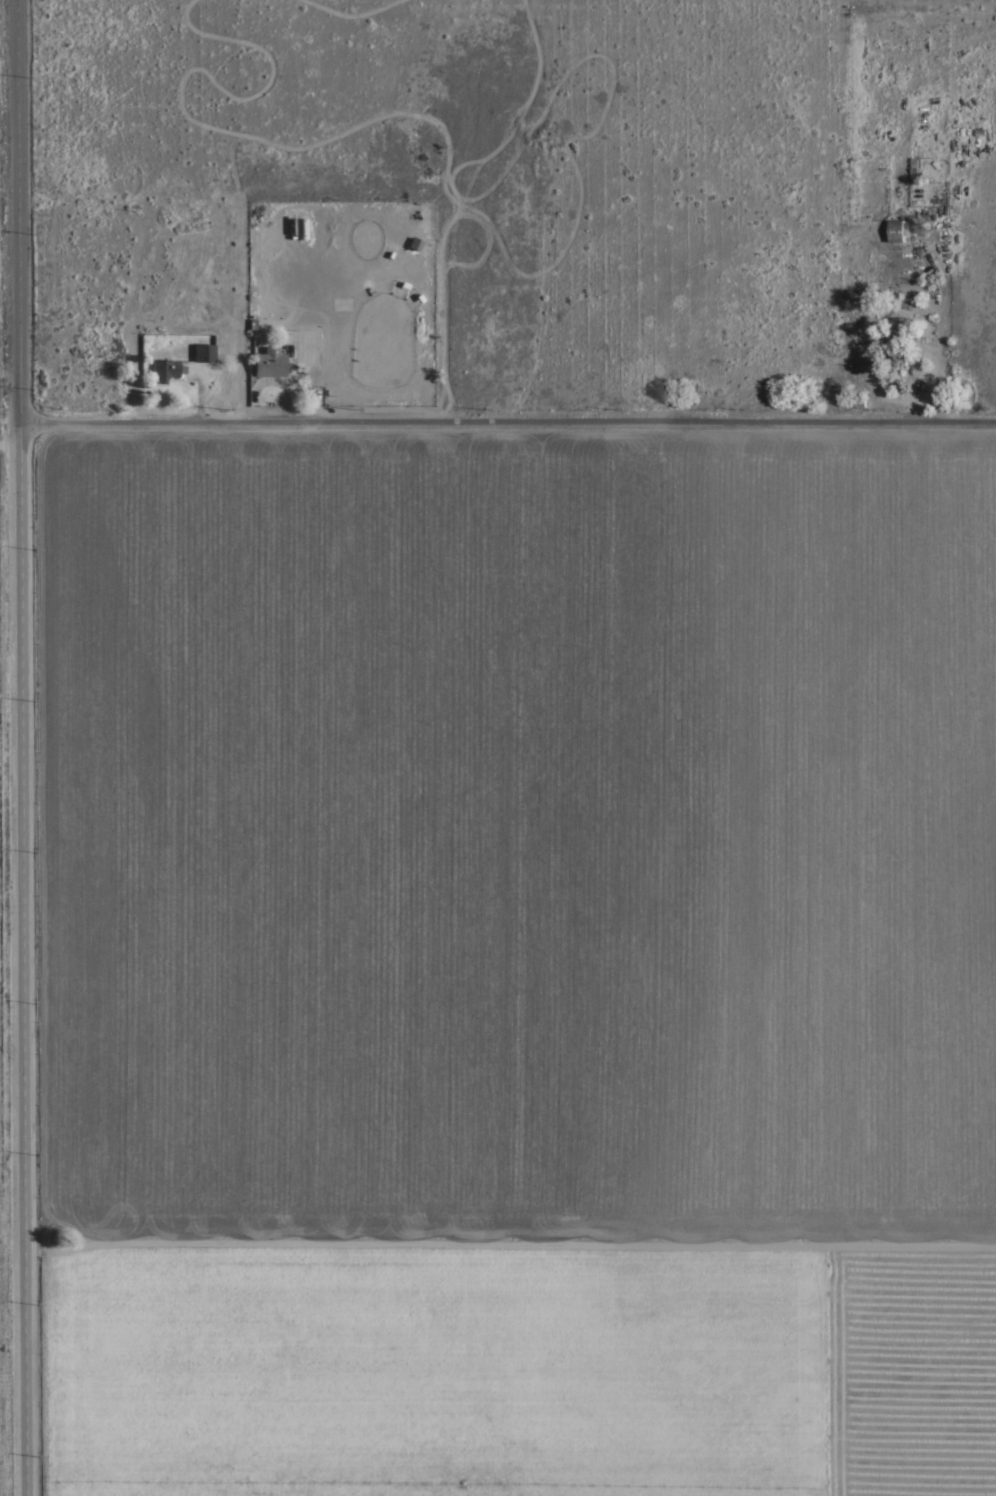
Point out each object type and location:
building: (913, 170)
building: (302, 229)
building: (895, 230)
building: (898, 333)
building: (204, 352)
building: (273, 361)
building: (166, 369)
road: (10, 429)
road: (508, 429)
road: (21, 747)
crop: (510, 960)

